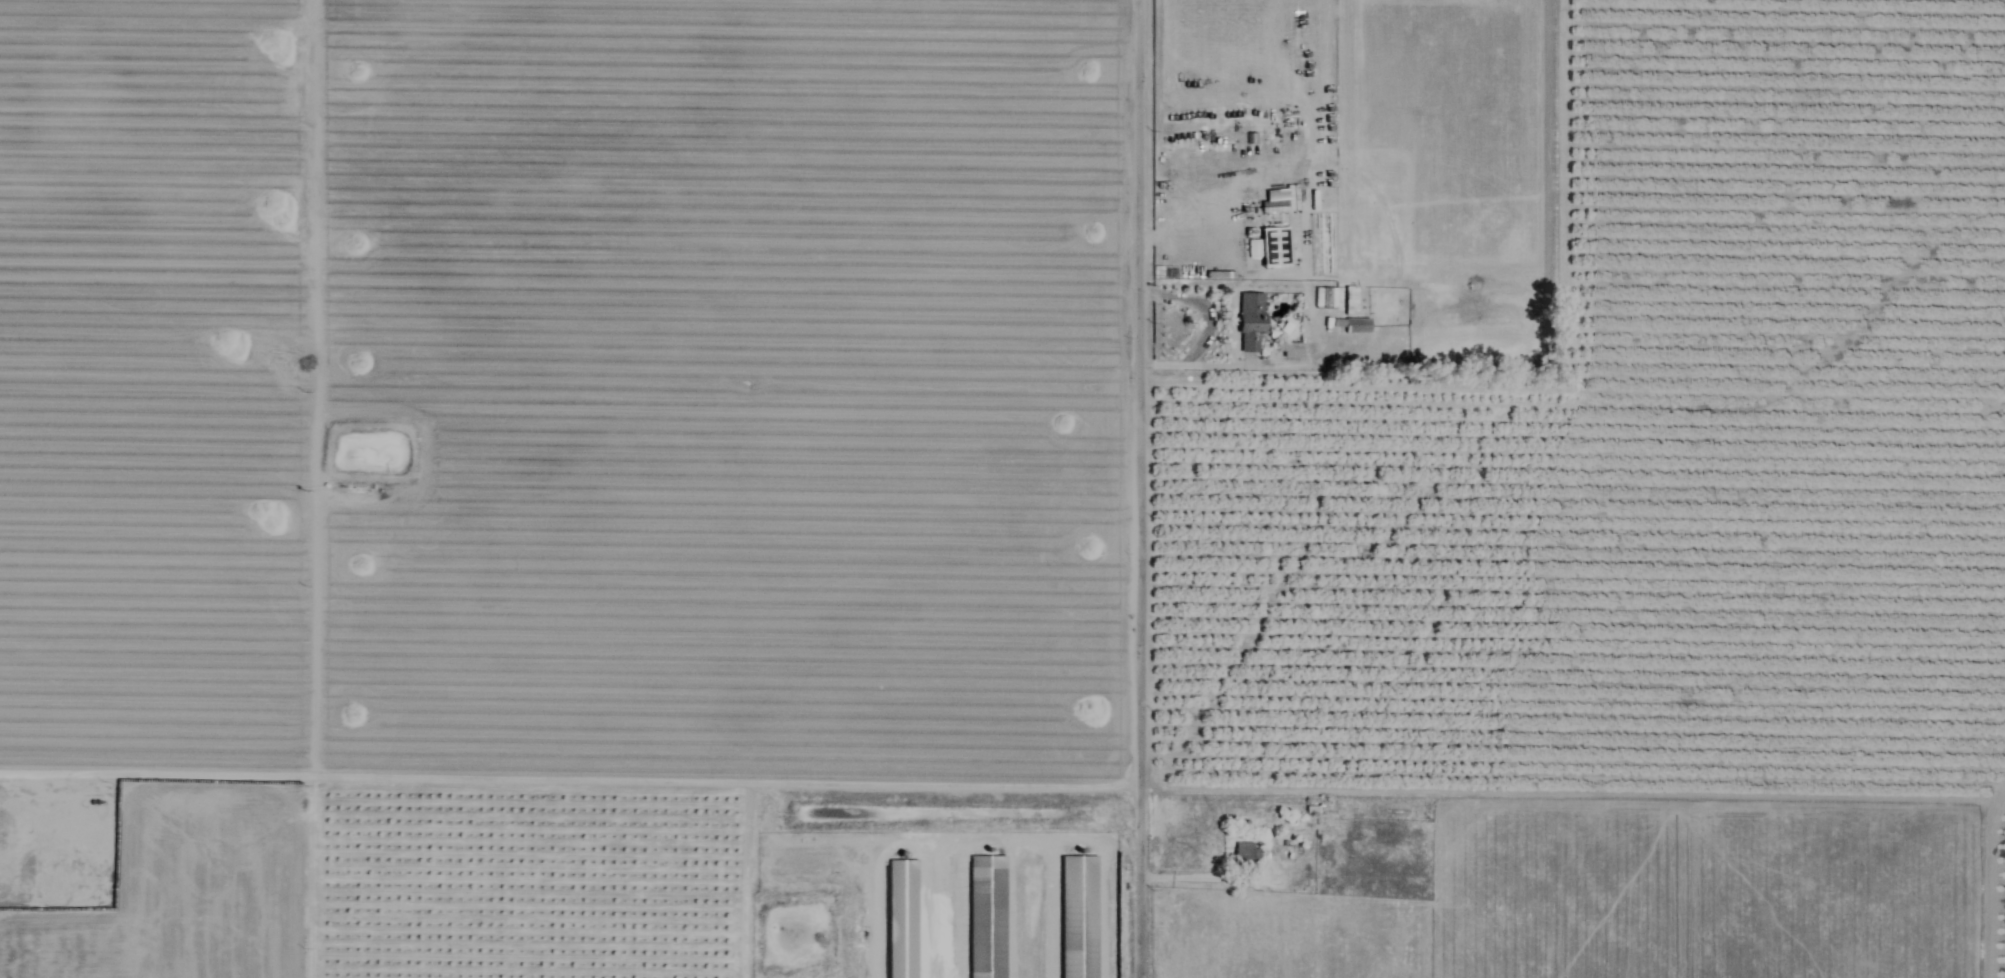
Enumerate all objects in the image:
building: (1273, 248)
building: (1326, 298)
building: (1351, 301)
building: (1251, 322)
building: (1357, 326)
road: (1539, 376)
crop: (924, 457)
road: (1140, 488)
building: (1315, 812)
building: (75, 815)
building: (1247, 855)
building: (988, 917)
building: (1079, 917)
building: (902, 919)

